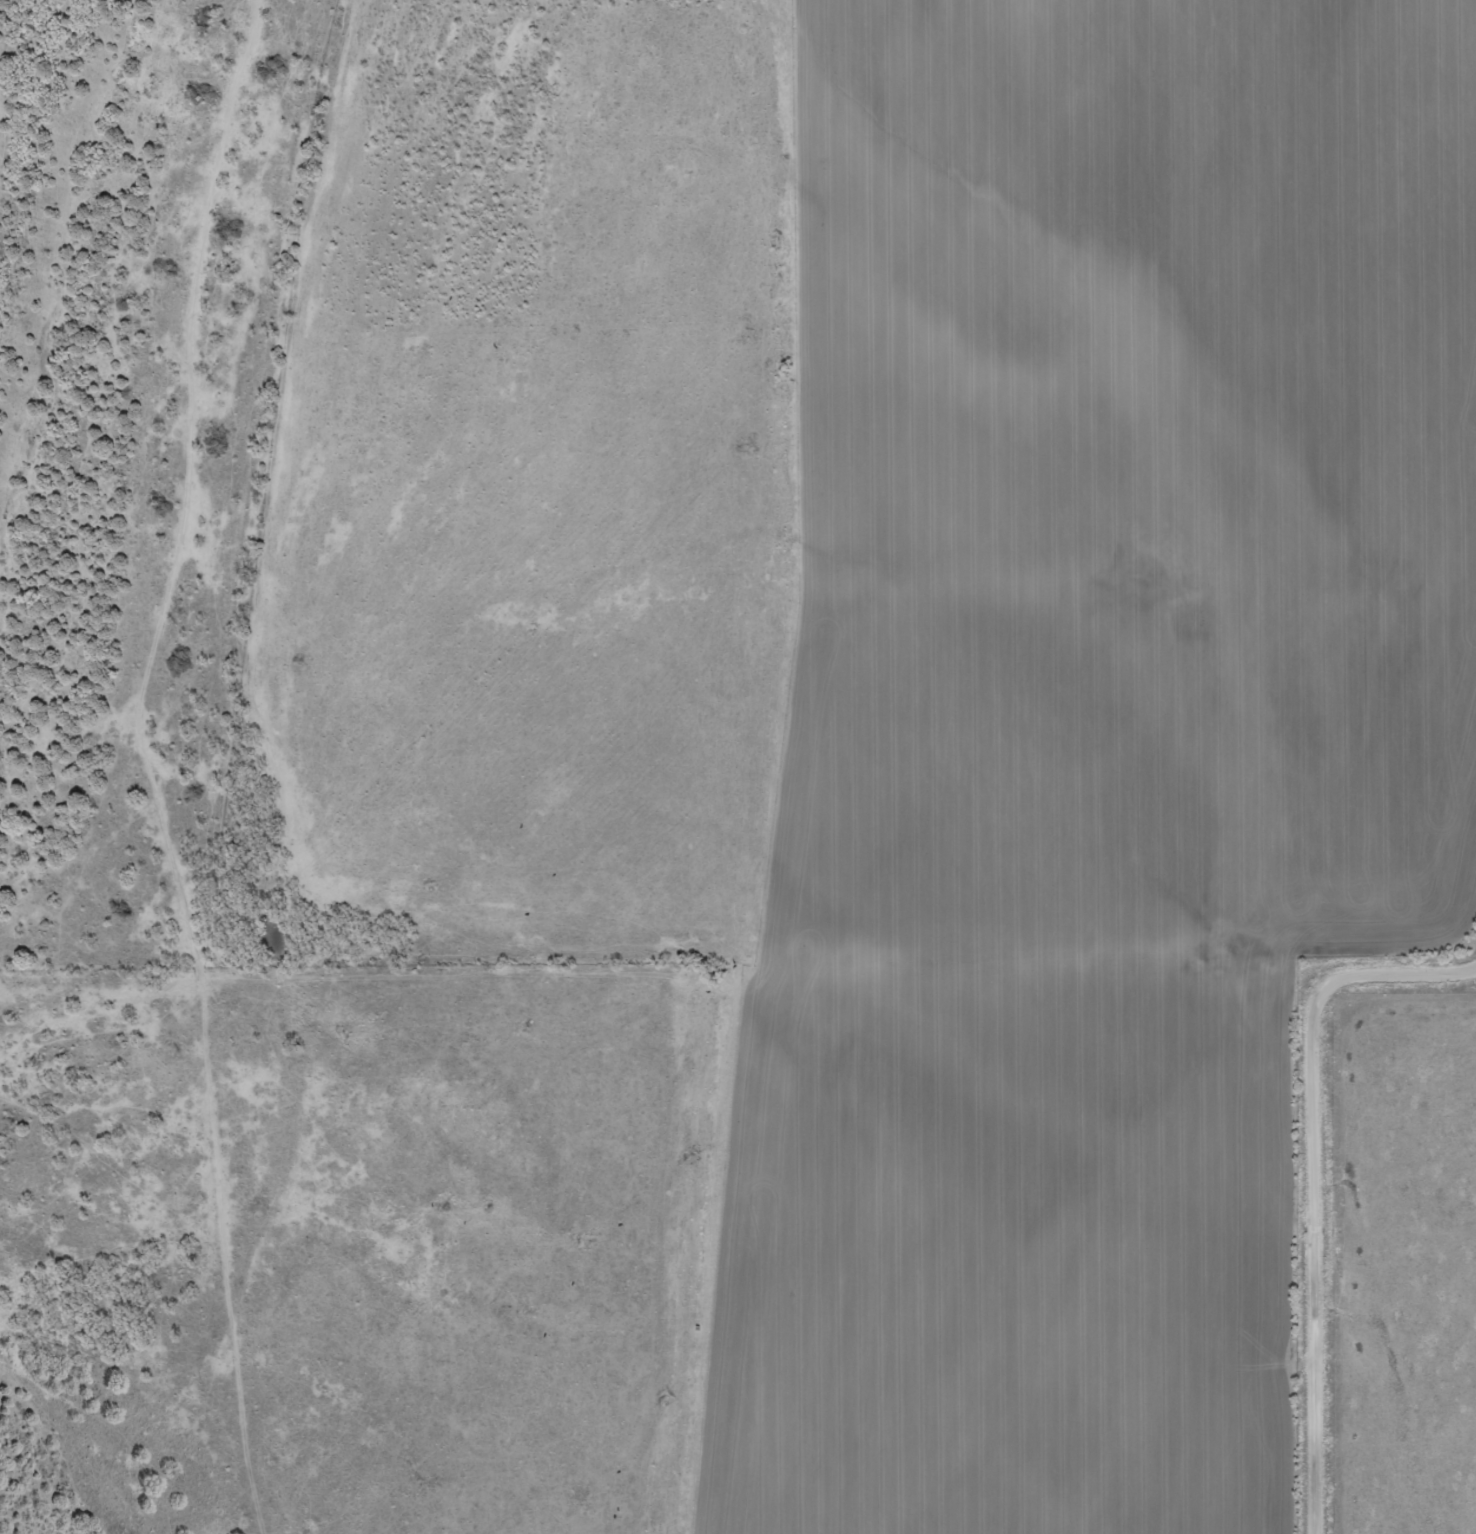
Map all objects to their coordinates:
road: (1292, 1198)

